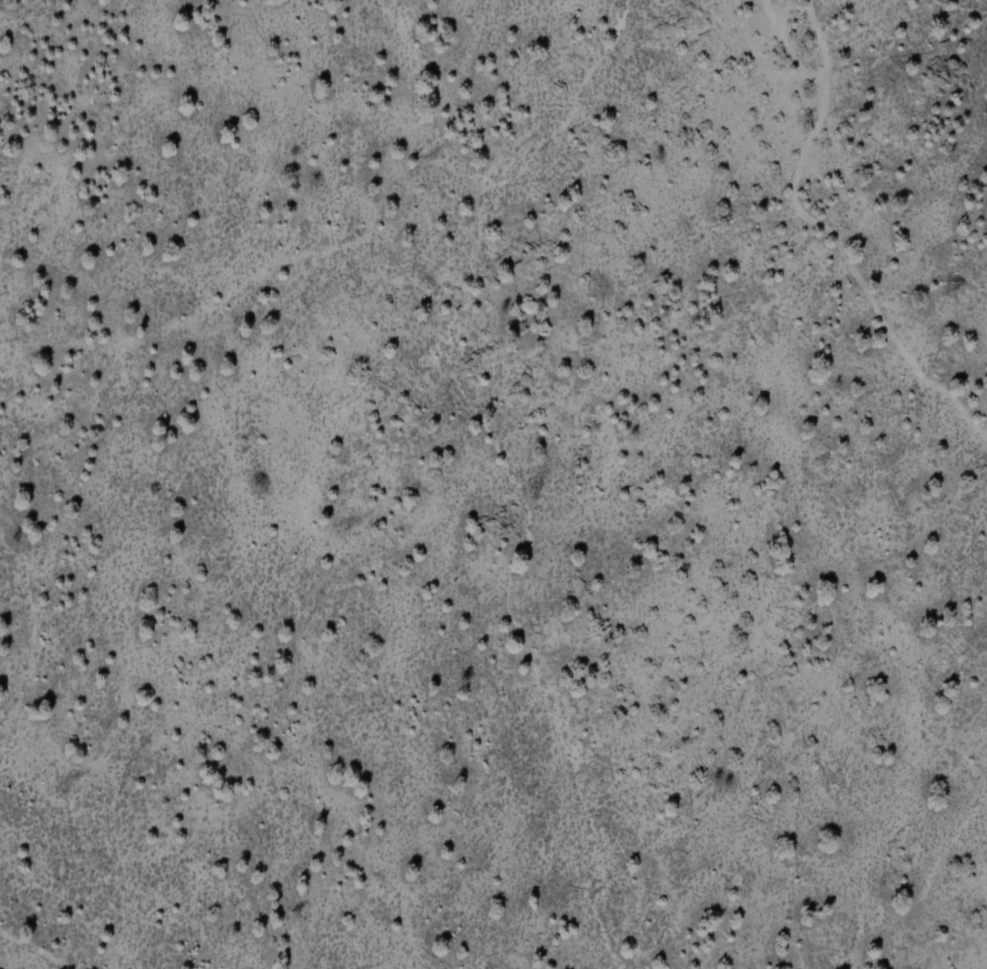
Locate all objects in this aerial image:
road: (225, 304)
road: (38, 950)

